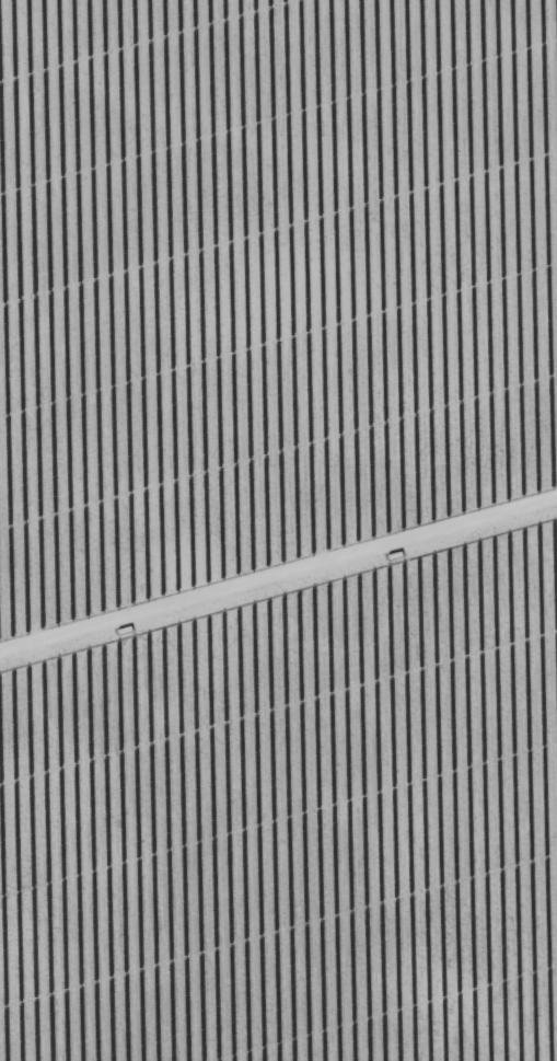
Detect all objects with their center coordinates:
solar farm: (278, 530)

